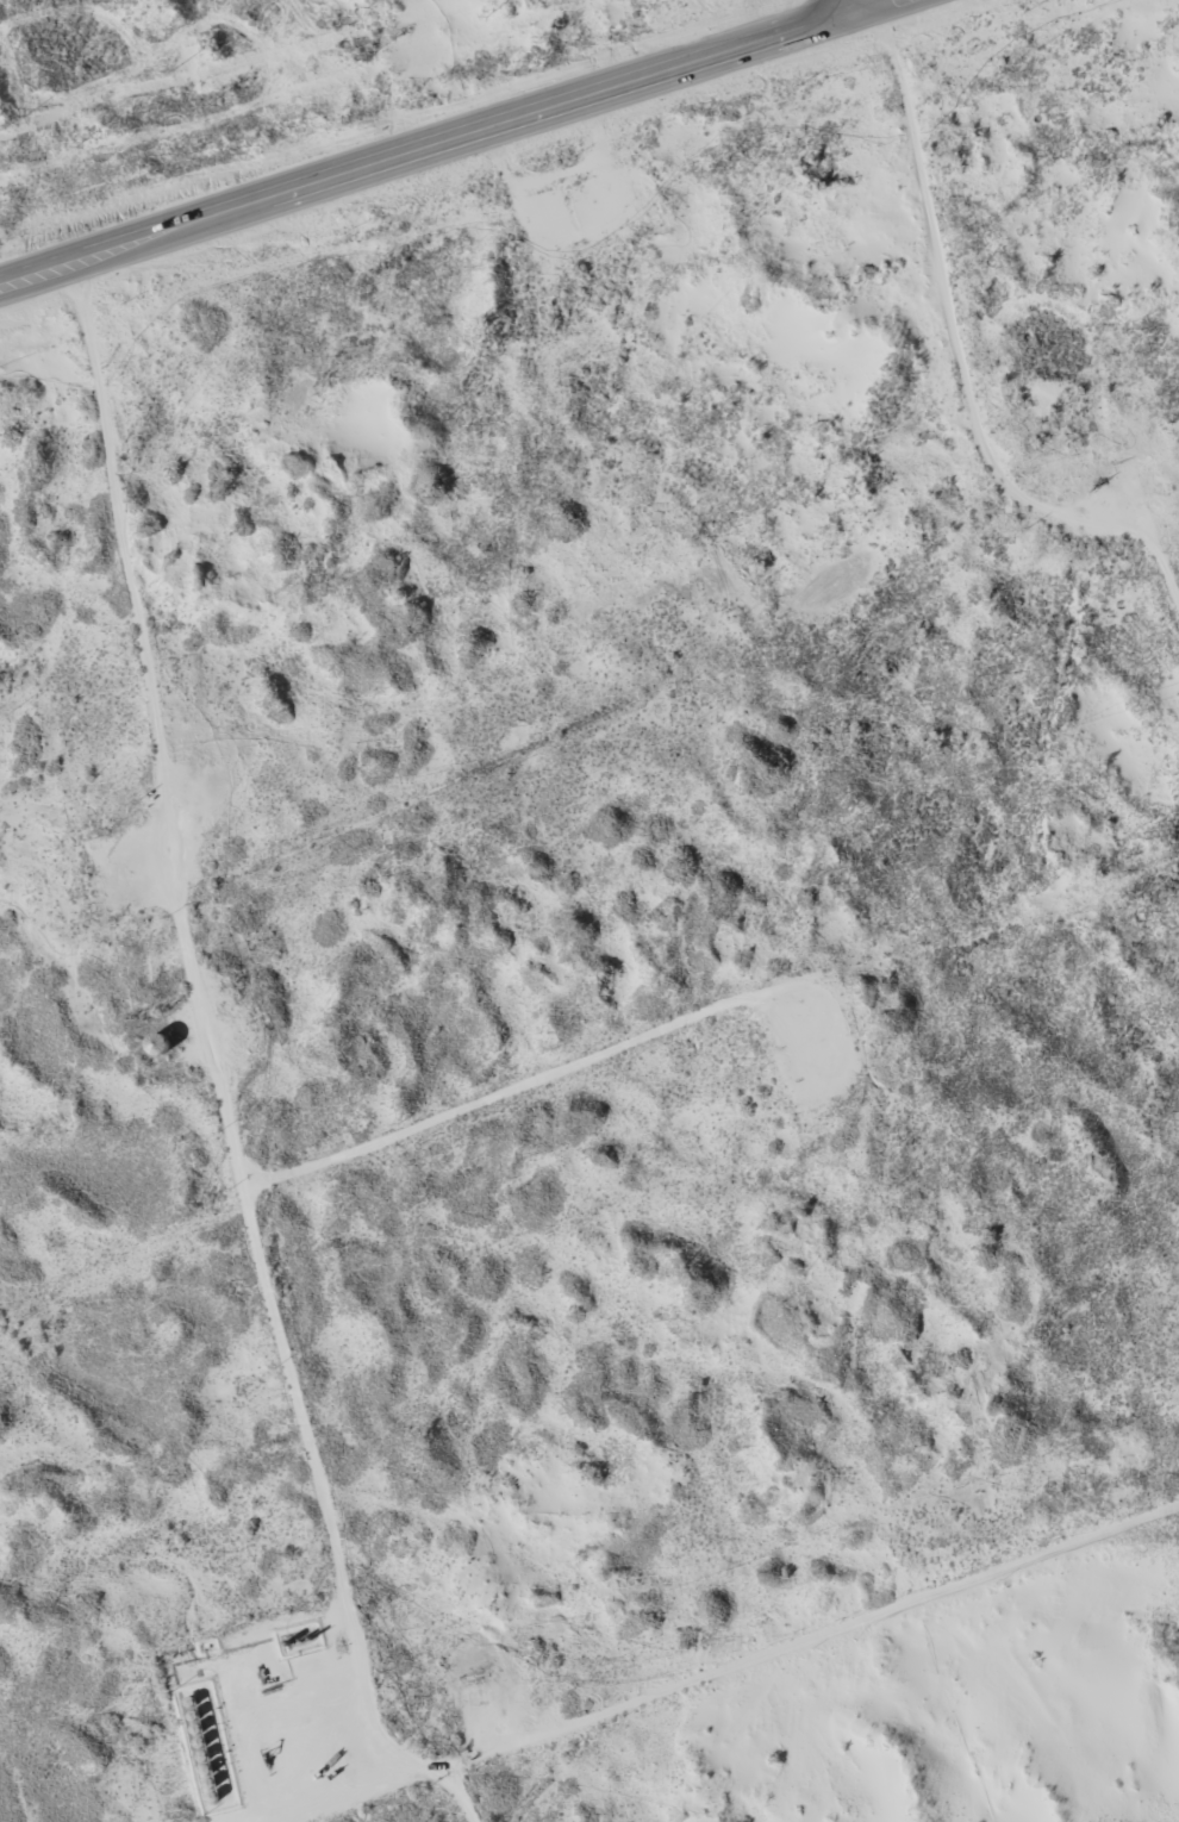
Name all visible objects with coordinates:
road: (850, 2)
road: (435, 139)
road: (227, 1132)
road: (817, 1683)

